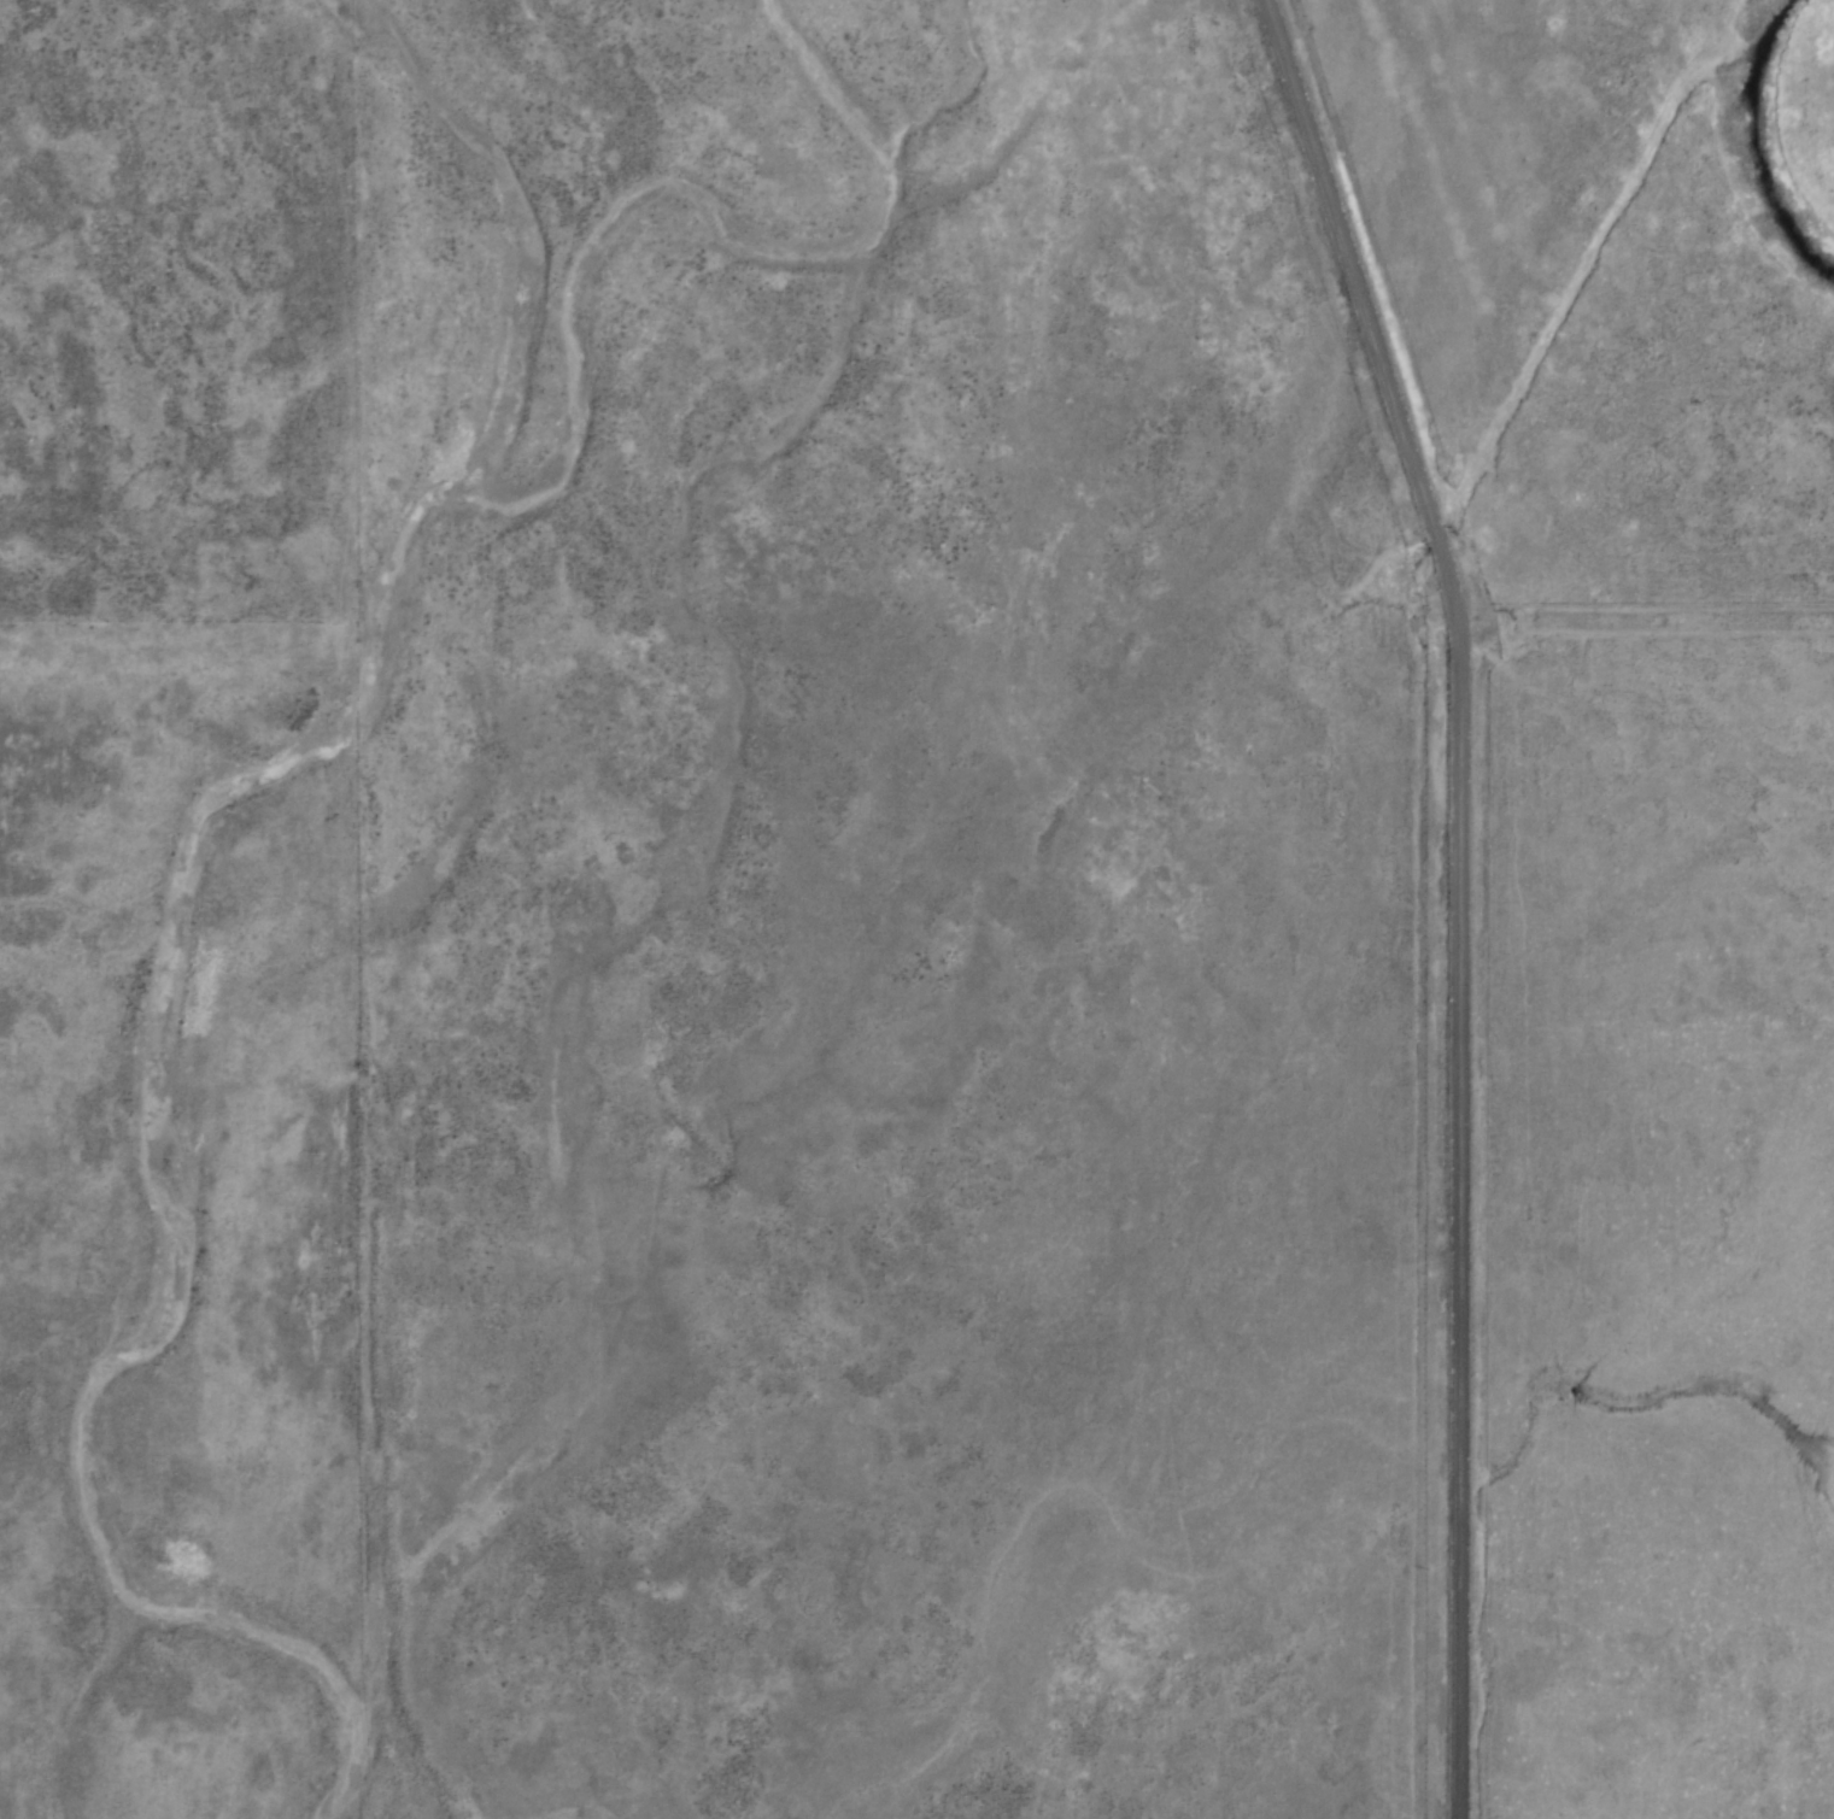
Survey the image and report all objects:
road: (1465, 894)

